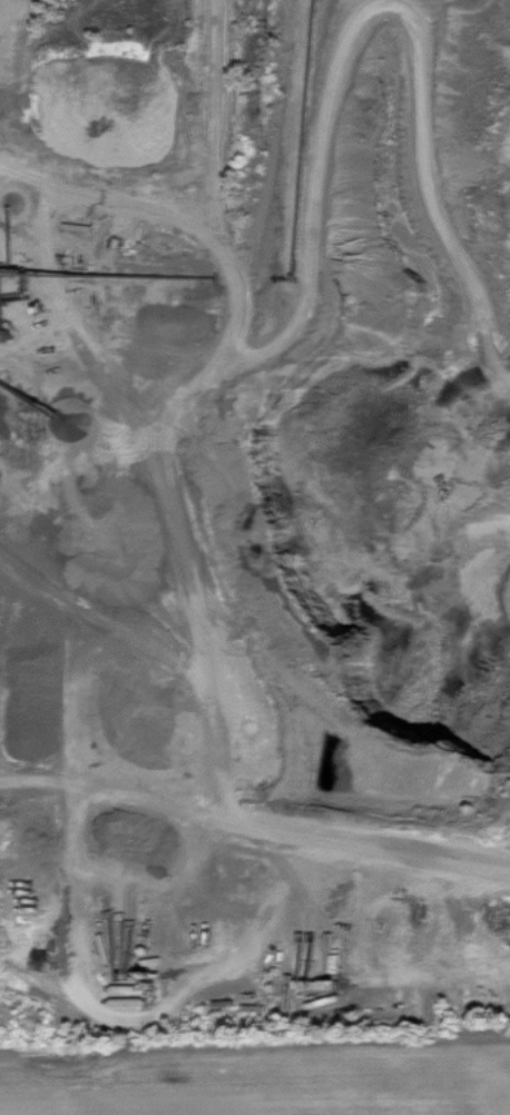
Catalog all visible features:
quarry: (262, 464)

